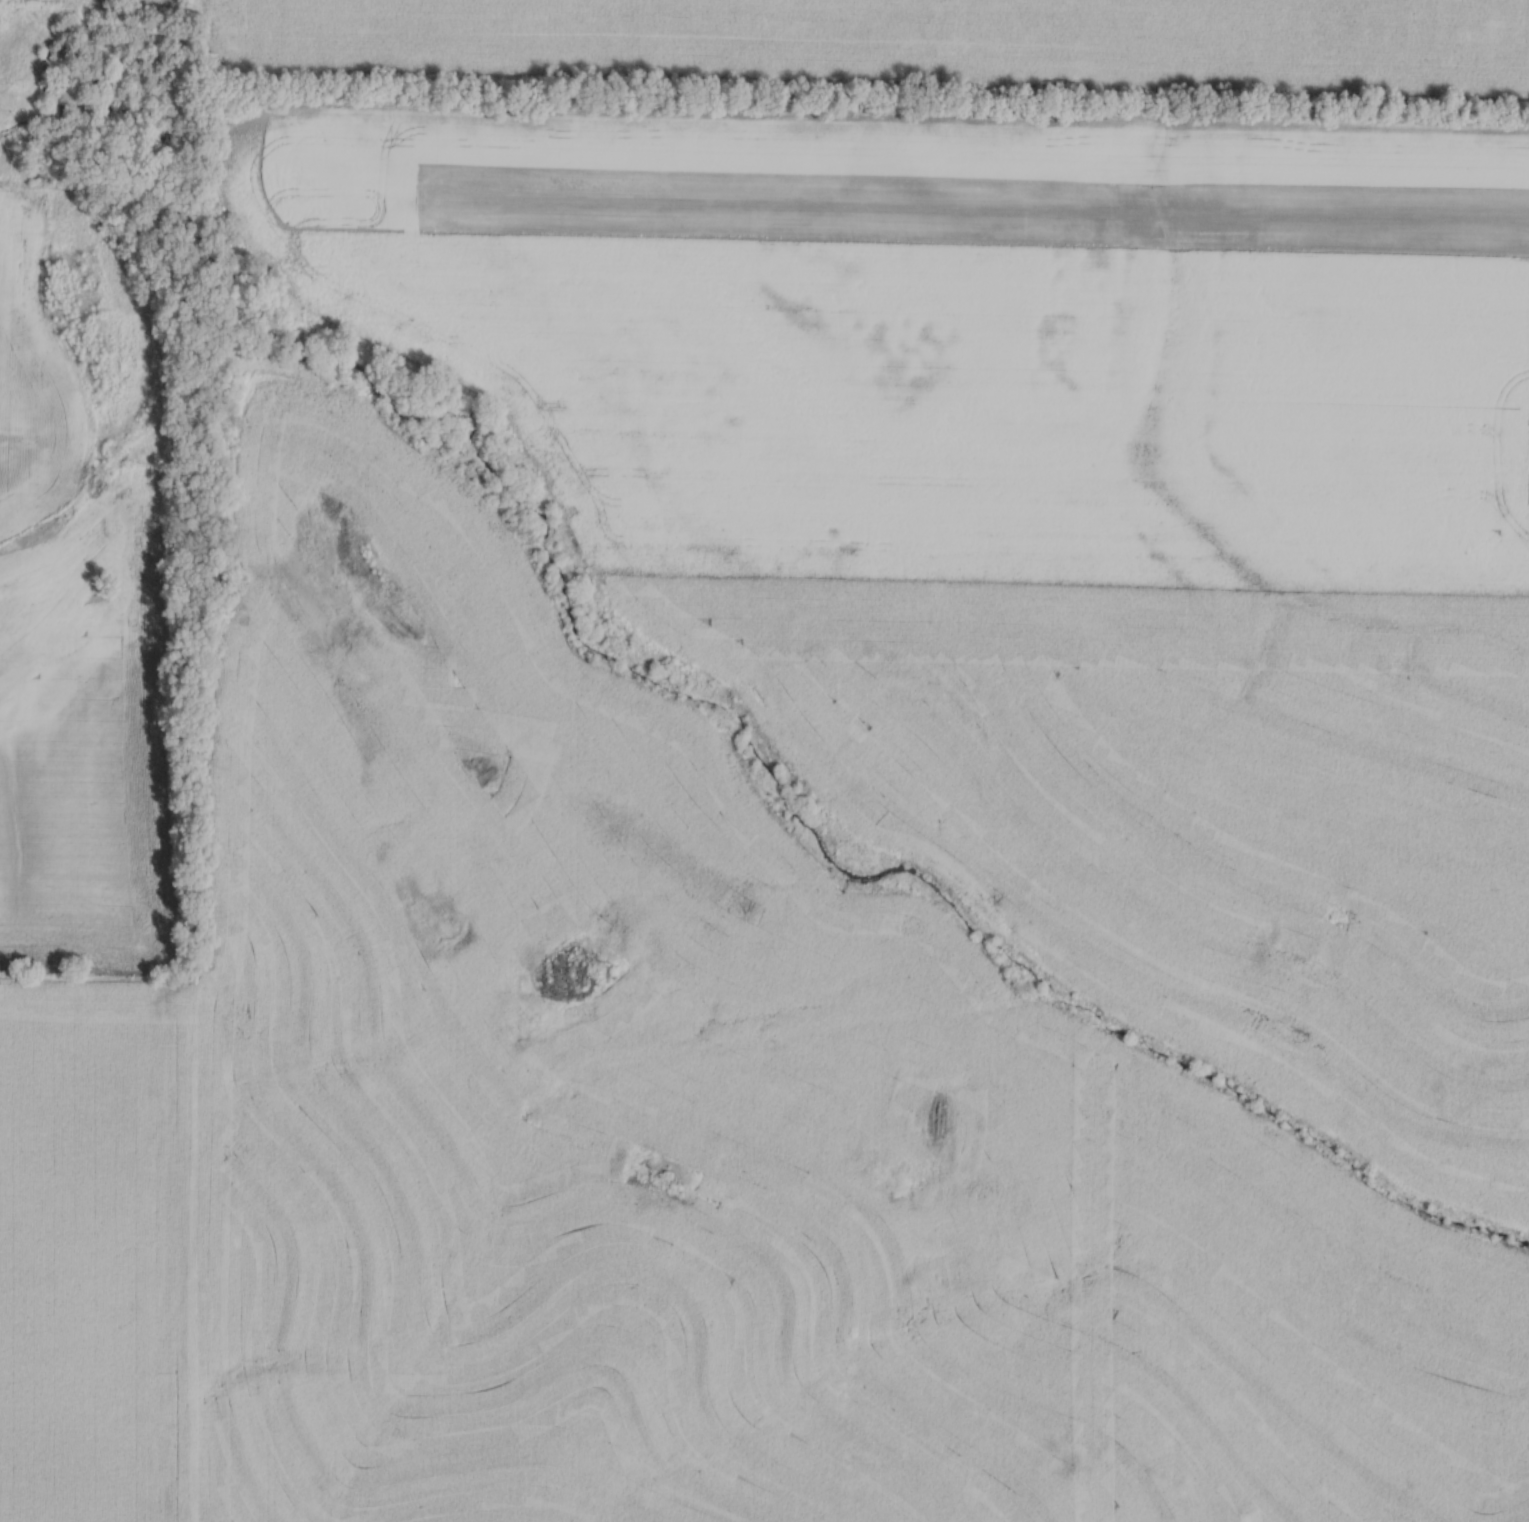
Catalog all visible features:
airport runway: (893, 183)
airport: (961, 339)

